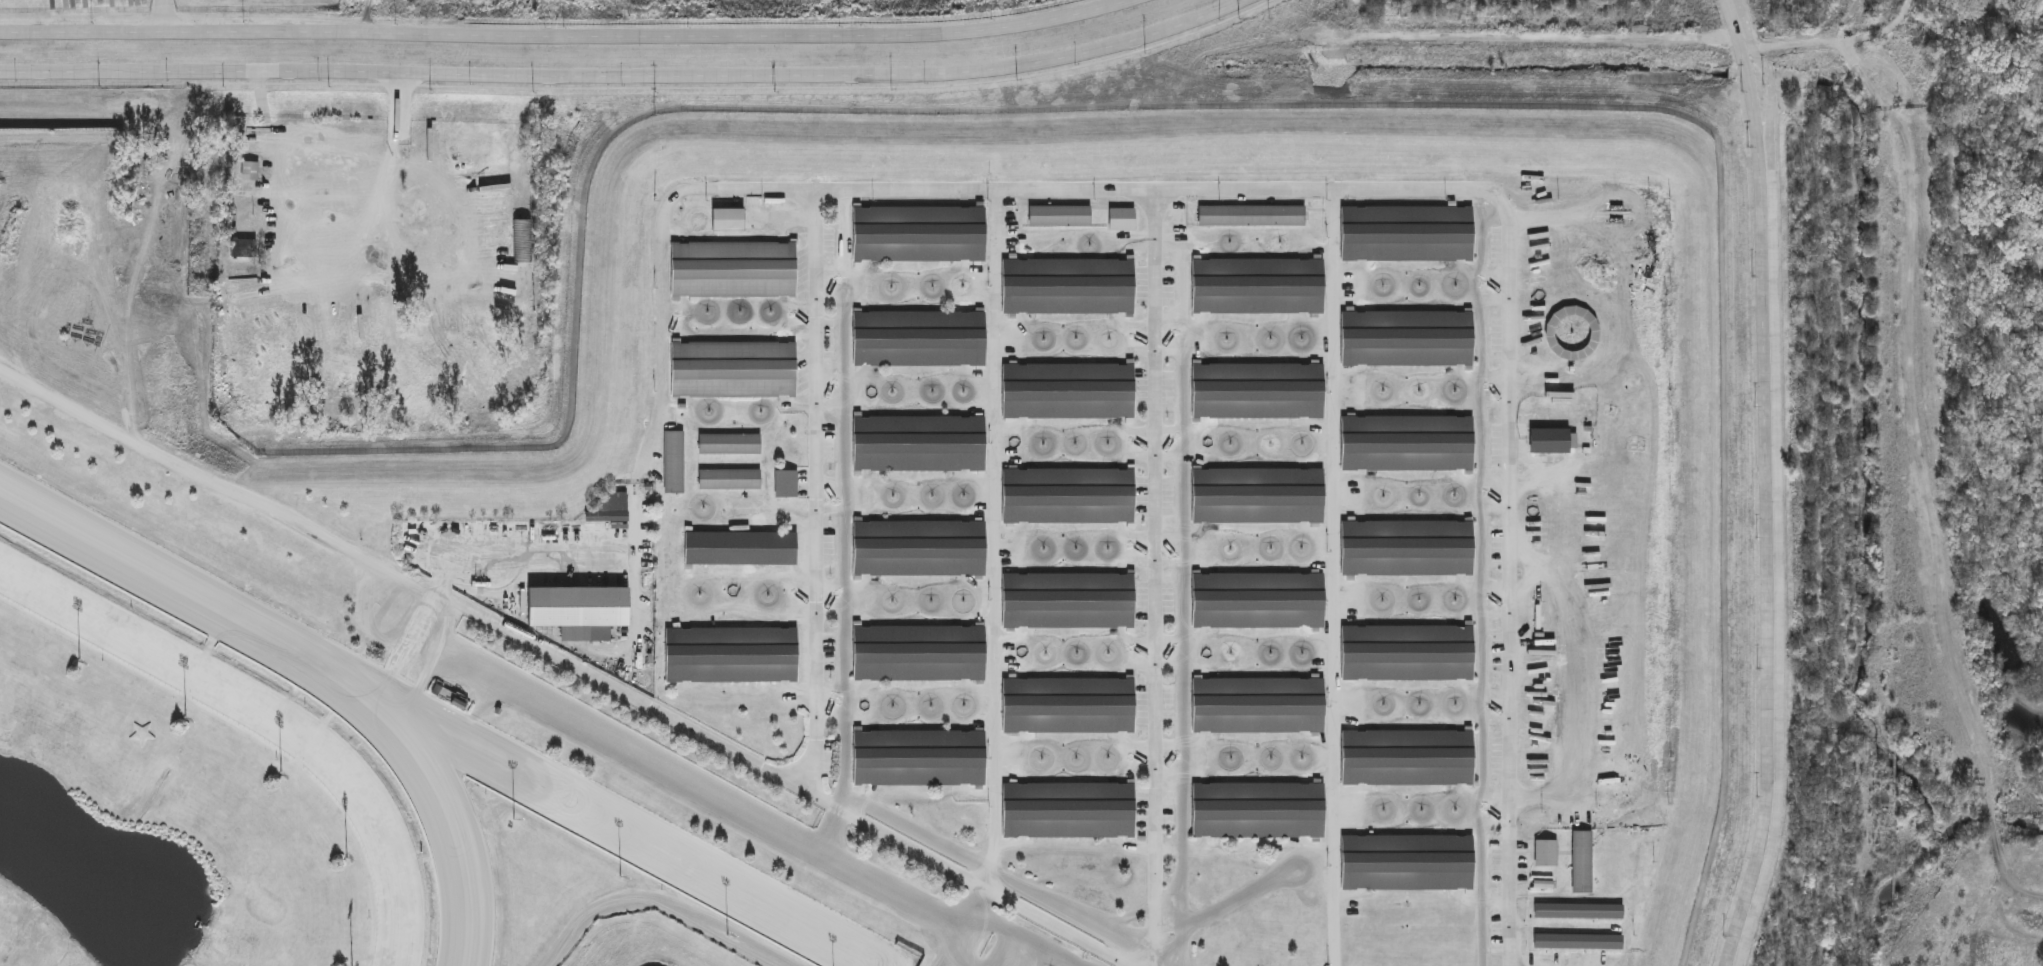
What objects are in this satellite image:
road: (164, 15)
road: (566, 32)
road: (632, 77)
building: (251, 173)
road: (1268, 188)
building: (1060, 215)
building: (1251, 215)
building: (1122, 218)
building: (728, 220)
building: (917, 231)
building: (1405, 231)
building: (525, 242)
building: (244, 249)
building: (732, 268)
road: (342, 277)
building: (1255, 284)
building: (1067, 286)
building: (1572, 333)
building: (1406, 335)
building: (918, 337)
building: (732, 366)
building: (1069, 390)
building: (1257, 390)
road: (1913, 424)
building: (1552, 440)
building: (918, 442)
building: (1406, 442)
building: (730, 444)
building: (674, 462)
building: (730, 479)
road: (1767, 482)
road: (1779, 483)
building: (786, 484)
road: (818, 492)
building: (1258, 494)
building: (1070, 495)
building: (610, 509)
road: (324, 537)
road: (997, 539)
building: (918, 546)
building: (1406, 546)
building: (740, 547)
road: (1156, 577)
road: (1336, 577)
building: (1258, 598)
building: (1069, 599)
building: (580, 610)
building: (1408, 649)
building: (915, 652)
building: (729, 653)
building: (452, 700)
building: (1070, 705)
building: (1257, 705)
building: (917, 756)
building: (1410, 756)
track: (272, 782)
road: (701, 787)
building: (1069, 807)
building: (1257, 809)
road: (829, 830)
road: (890, 834)
building: (1546, 853)
building: (1408, 860)
building: (1582, 862)
building: (1543, 883)
road: (1247, 895)
building: (1750, 906)
building: (1579, 911)
building: (1579, 941)

